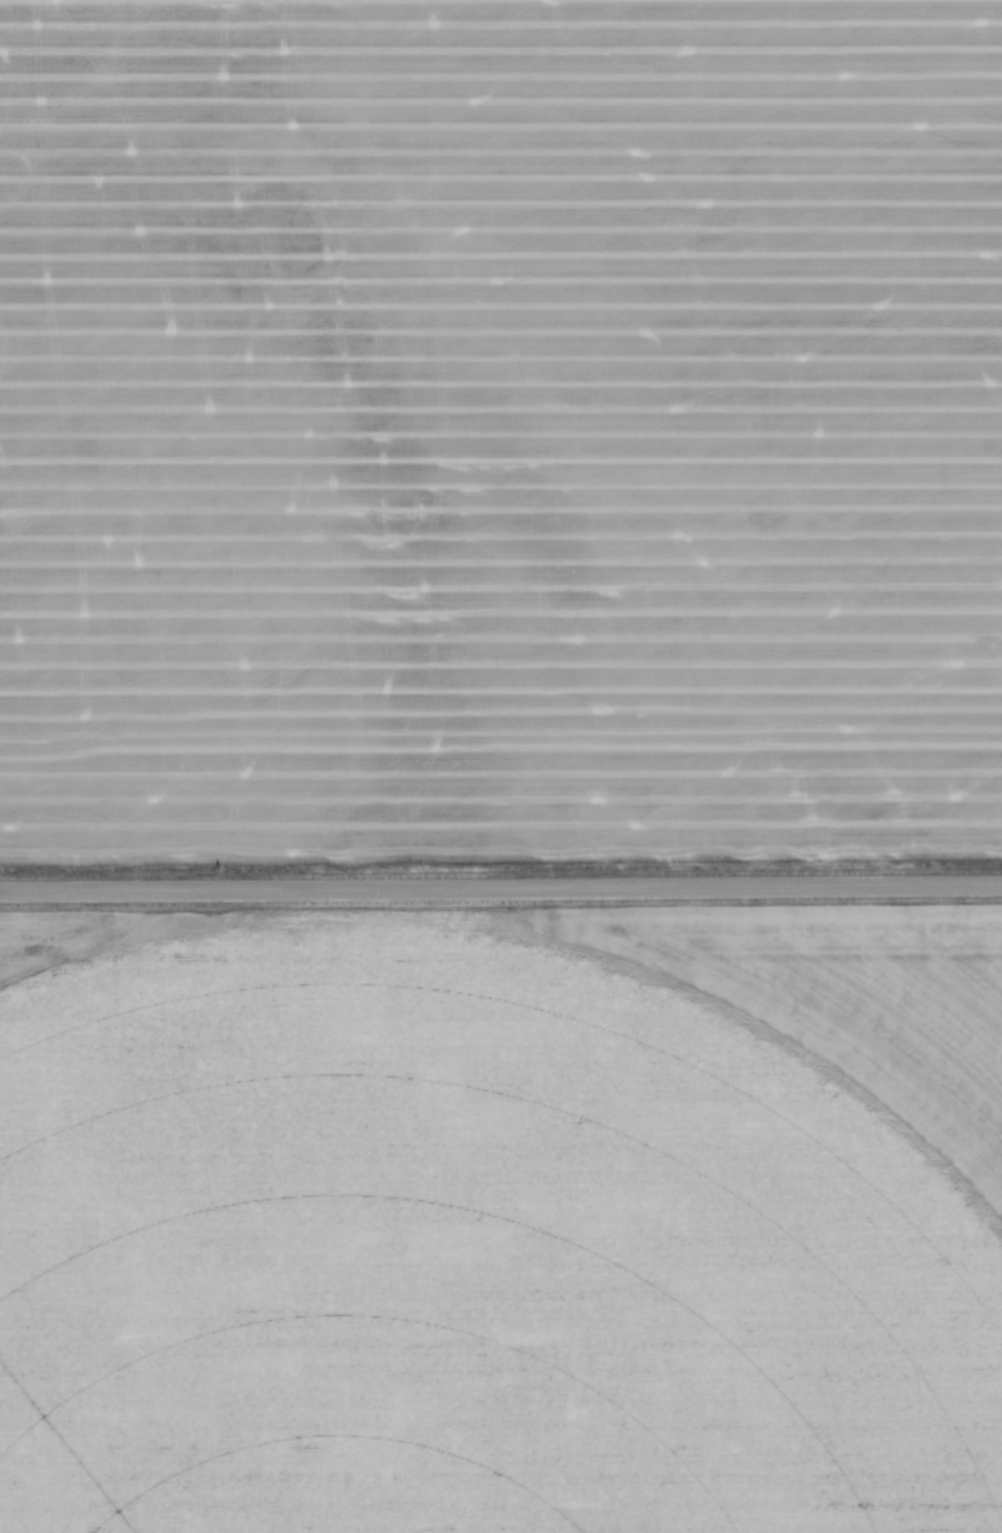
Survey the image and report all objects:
crop: (500, 431)
road: (501, 888)
crop: (501, 1224)

